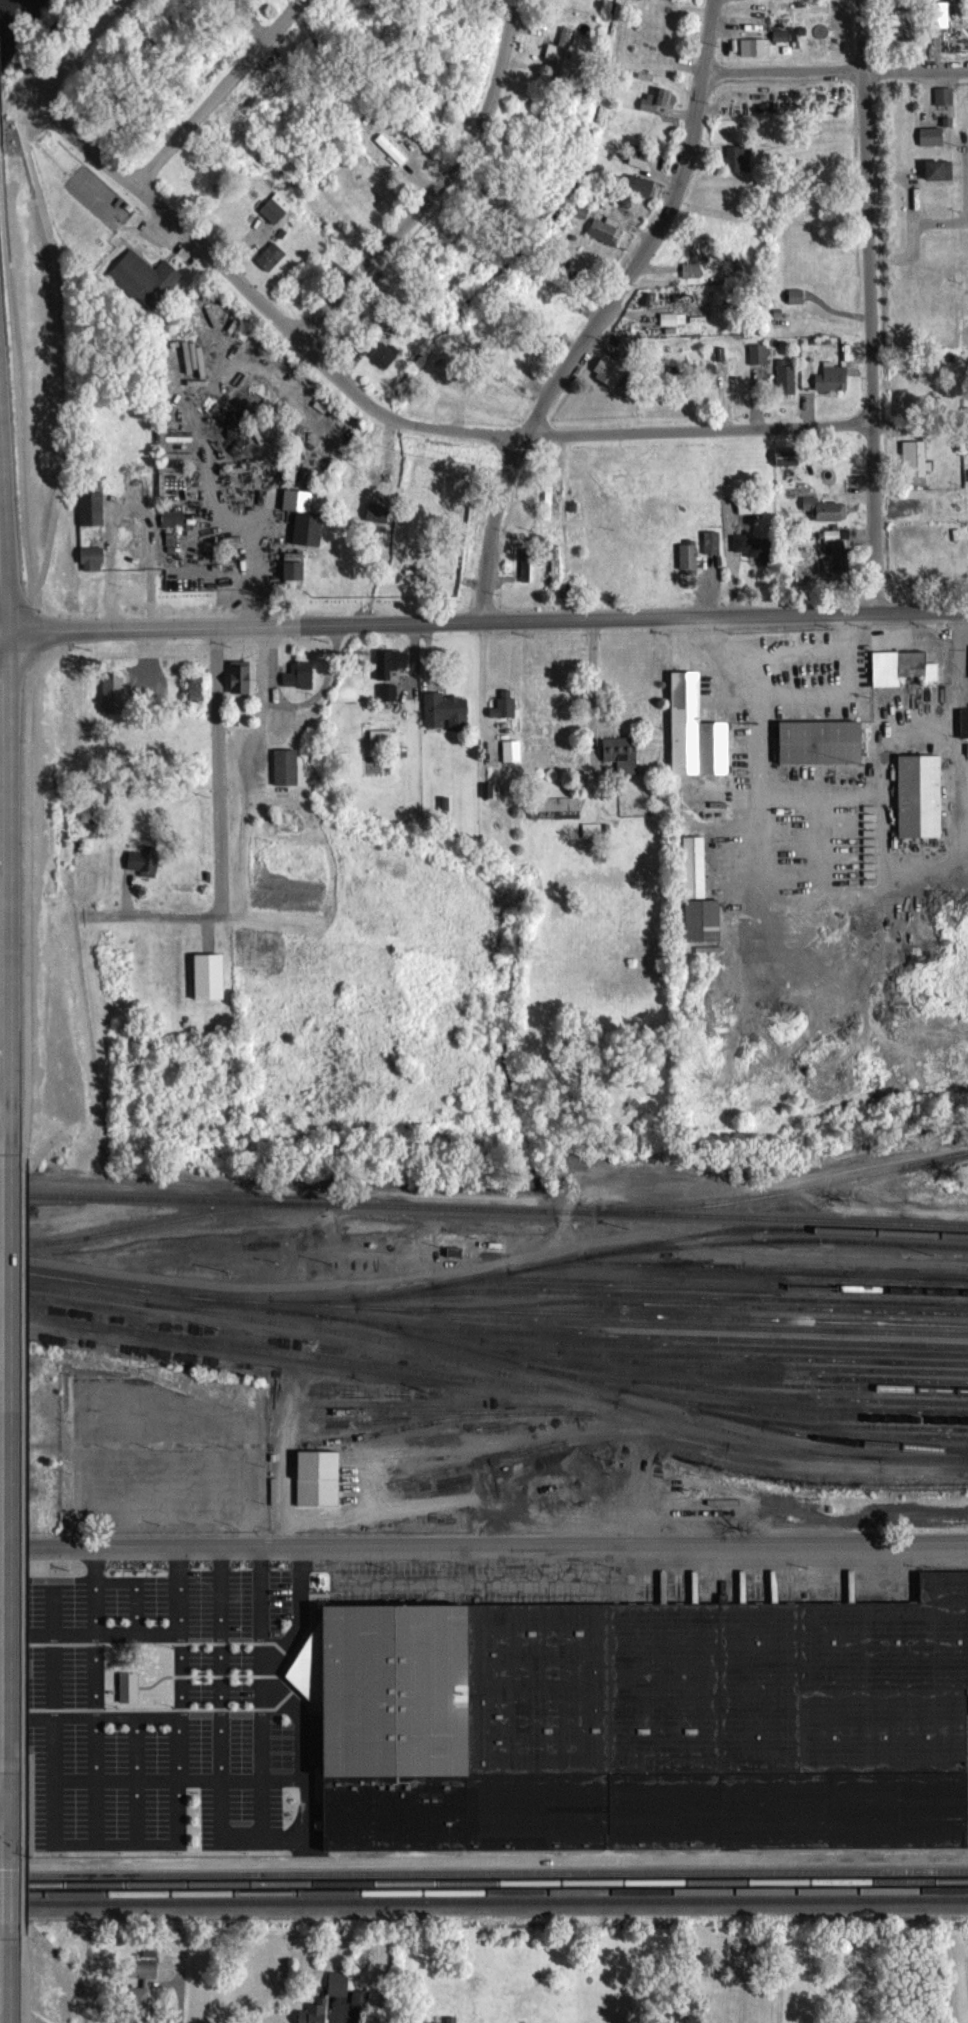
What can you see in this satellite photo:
building: (678, 2)
building: (772, 3)
building: (939, 23)
building: (904, 28)
road: (80, 44)
building: (786, 44)
building: (756, 55)
building: (560, 58)
road: (836, 74)
road: (223, 96)
building: (945, 104)
building: (657, 108)
building: (932, 144)
building: (640, 165)
building: (739, 167)
building: (939, 178)
road: (439, 183)
building: (640, 193)
road: (1, 194)
building: (274, 219)
building: (606, 238)
building: (699, 257)
building: (272, 265)
building: (692, 278)
building: (146, 287)
building: (797, 305)
road: (870, 305)
road: (603, 311)
building: (674, 327)
building: (759, 362)
building: (385, 363)
building: (613, 381)
building: (833, 386)
building: (787, 388)
road: (394, 414)
building: (788, 466)
building: (916, 467)
building: (751, 514)
building: (92, 517)
building: (825, 518)
building: (378, 522)
building: (306, 524)
road: (230, 525)
building: (173, 527)
building: (138, 544)
building: (712, 551)
building: (754, 555)
building: (837, 557)
building: (689, 564)
building: (92, 567)
building: (556, 571)
building: (527, 573)
building: (293, 575)
road: (484, 621)
building: (391, 671)
road: (484, 674)
road: (595, 674)
building: (903, 676)
road: (29, 681)
building: (300, 684)
building: (241, 685)
road: (793, 695)
building: (389, 701)
building: (114, 704)
building: (506, 714)
building: (447, 719)
building: (964, 731)
building: (696, 739)
building: (381, 746)
building: (820, 751)
building: (512, 759)
building: (621, 762)
building: (287, 776)
building: (488, 797)
building: (920, 804)
building: (560, 816)
road: (218, 822)
building: (596, 839)
building: (144, 871)
building: (694, 875)
building: (702, 919)
building: (209, 985)
railway: (785, 1199)
railway: (484, 1215)
railway: (484, 1217)
railway: (164, 1231)
railway: (776, 1236)
railway: (739, 1251)
railway: (575, 1272)
road: (487, 1274)
railway: (701, 1291)
railway: (662, 1304)
railway: (620, 1311)
railway: (702, 1325)
railway: (662, 1333)
railway: (650, 1345)
railway: (682, 1354)
railway: (304, 1363)
railway: (485, 1363)
railway: (725, 1365)
railway: (485, 1375)
railway: (764, 1375)
road: (375, 1383)
railway: (801, 1385)
railway: (748, 1392)
railway: (800, 1406)
railway: (795, 1415)
railway: (573, 1421)
railway: (828, 1425)
railway: (426, 1432)
railway: (834, 1433)
railway: (865, 1443)
railway: (559, 1452)
road: (23, 1454)
railway: (936, 1457)
railway: (455, 1465)
road: (805, 1476)
building: (319, 1487)
railway: (484, 1527)
road: (483, 1545)
road: (497, 1590)
road: (303, 1616)
road: (118, 1643)
building: (130, 1696)
road: (96, 1699)
building: (642, 1722)
road: (304, 1759)
road: (180, 1787)
road: (20, 1806)
road: (145, 1850)
road: (287, 1851)
road: (242, 1852)
railway: (483, 1871)
railway: (484, 1881)
railway: (484, 1891)
road: (20, 1892)
railway: (484, 1899)
road: (22, 1974)
building: (144, 1979)
building: (339, 1992)
building: (361, 2006)
building: (138, 2009)
building: (317, 2016)

